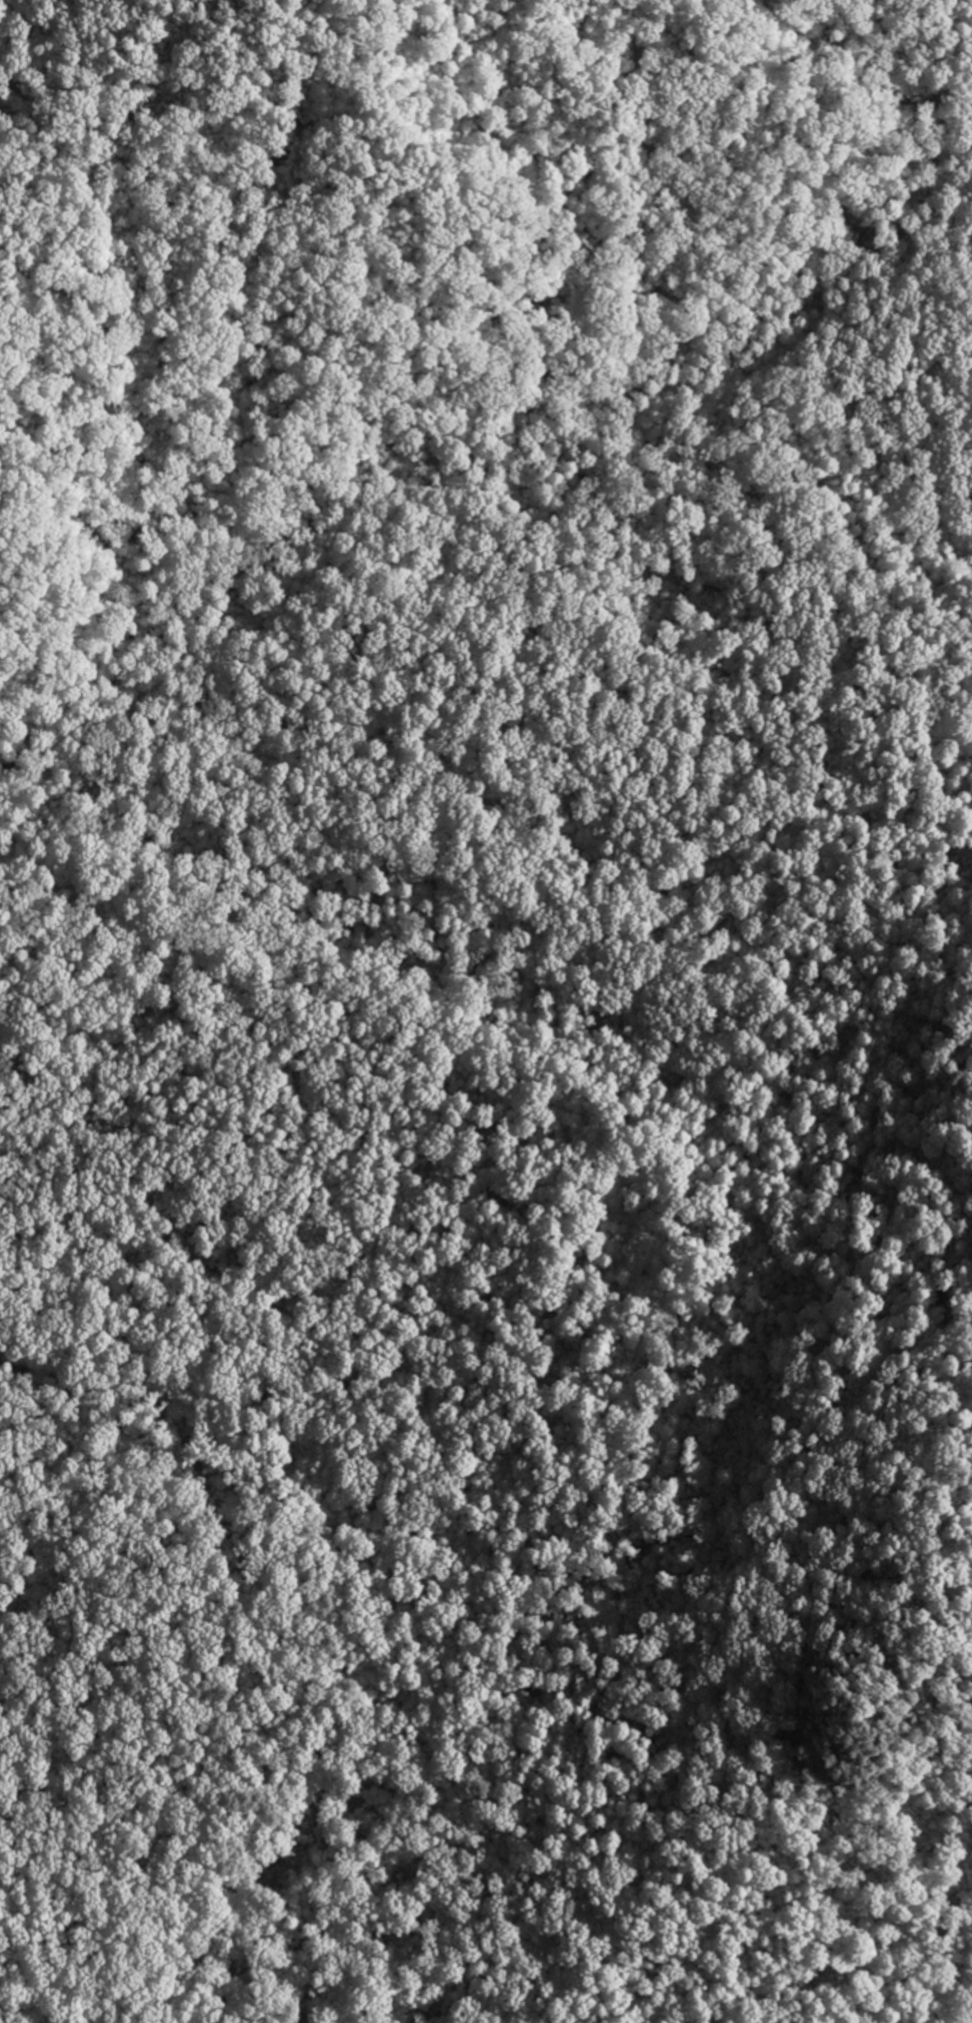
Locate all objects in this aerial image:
road: (929, 1617)
road: (481, 1670)
road: (623, 1919)

